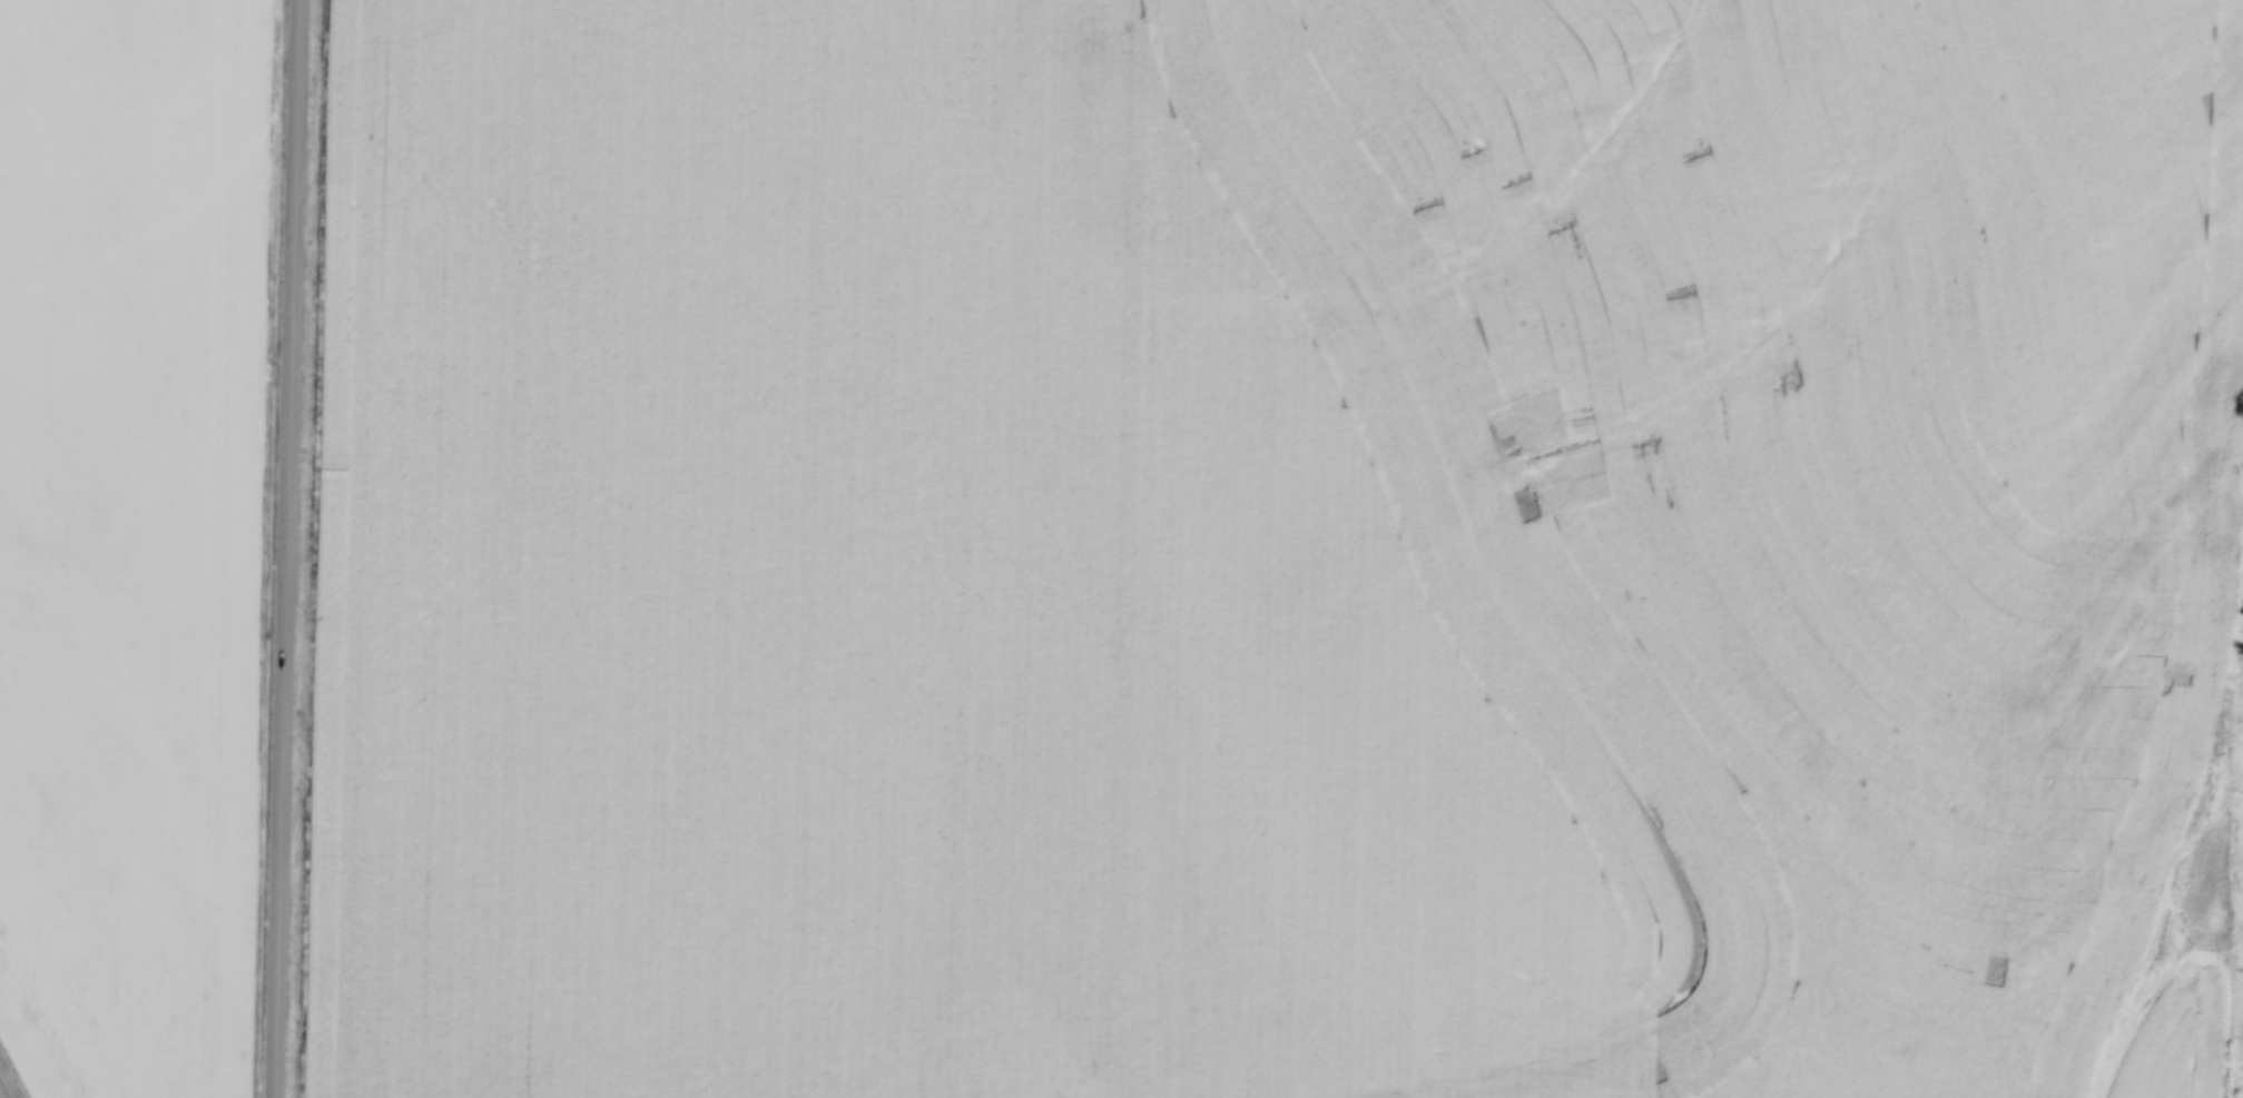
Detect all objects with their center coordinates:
road: (288, 548)

